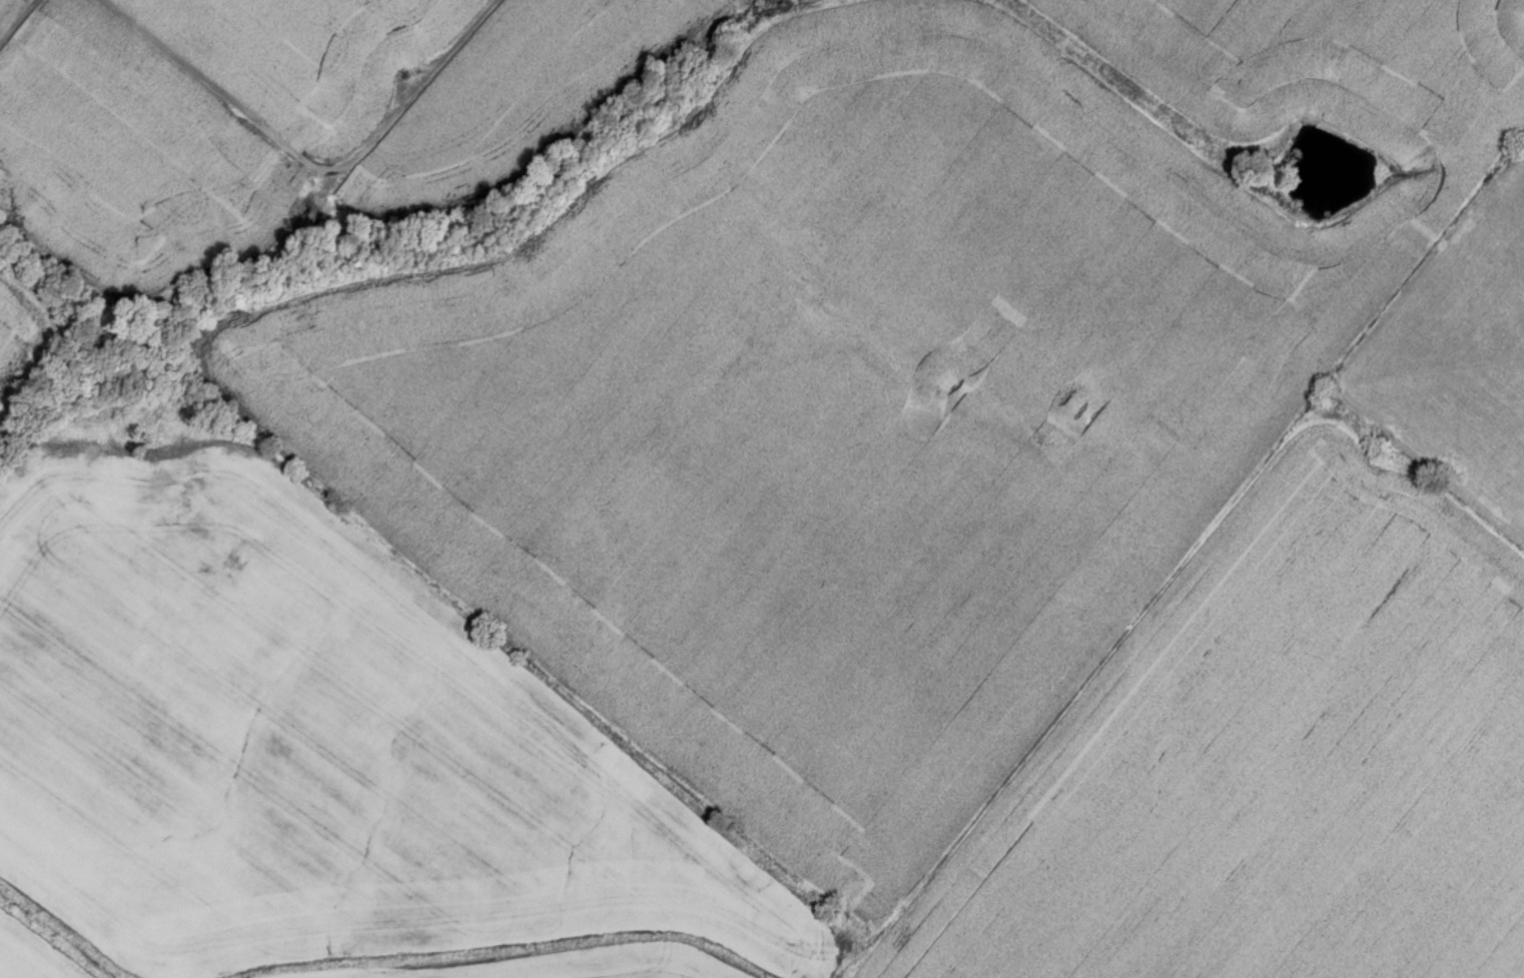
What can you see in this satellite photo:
road: (18, 22)
road: (310, 162)

